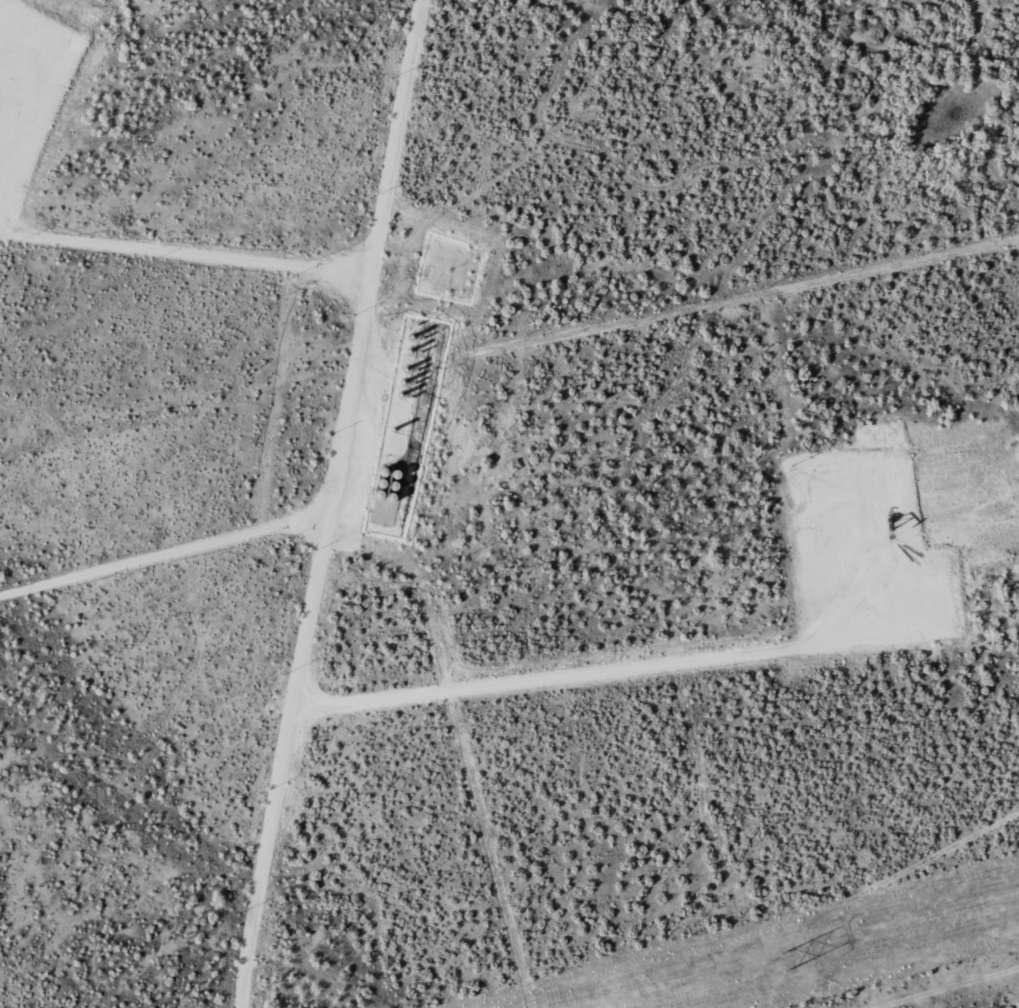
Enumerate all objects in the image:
power tower: (793, 956)

